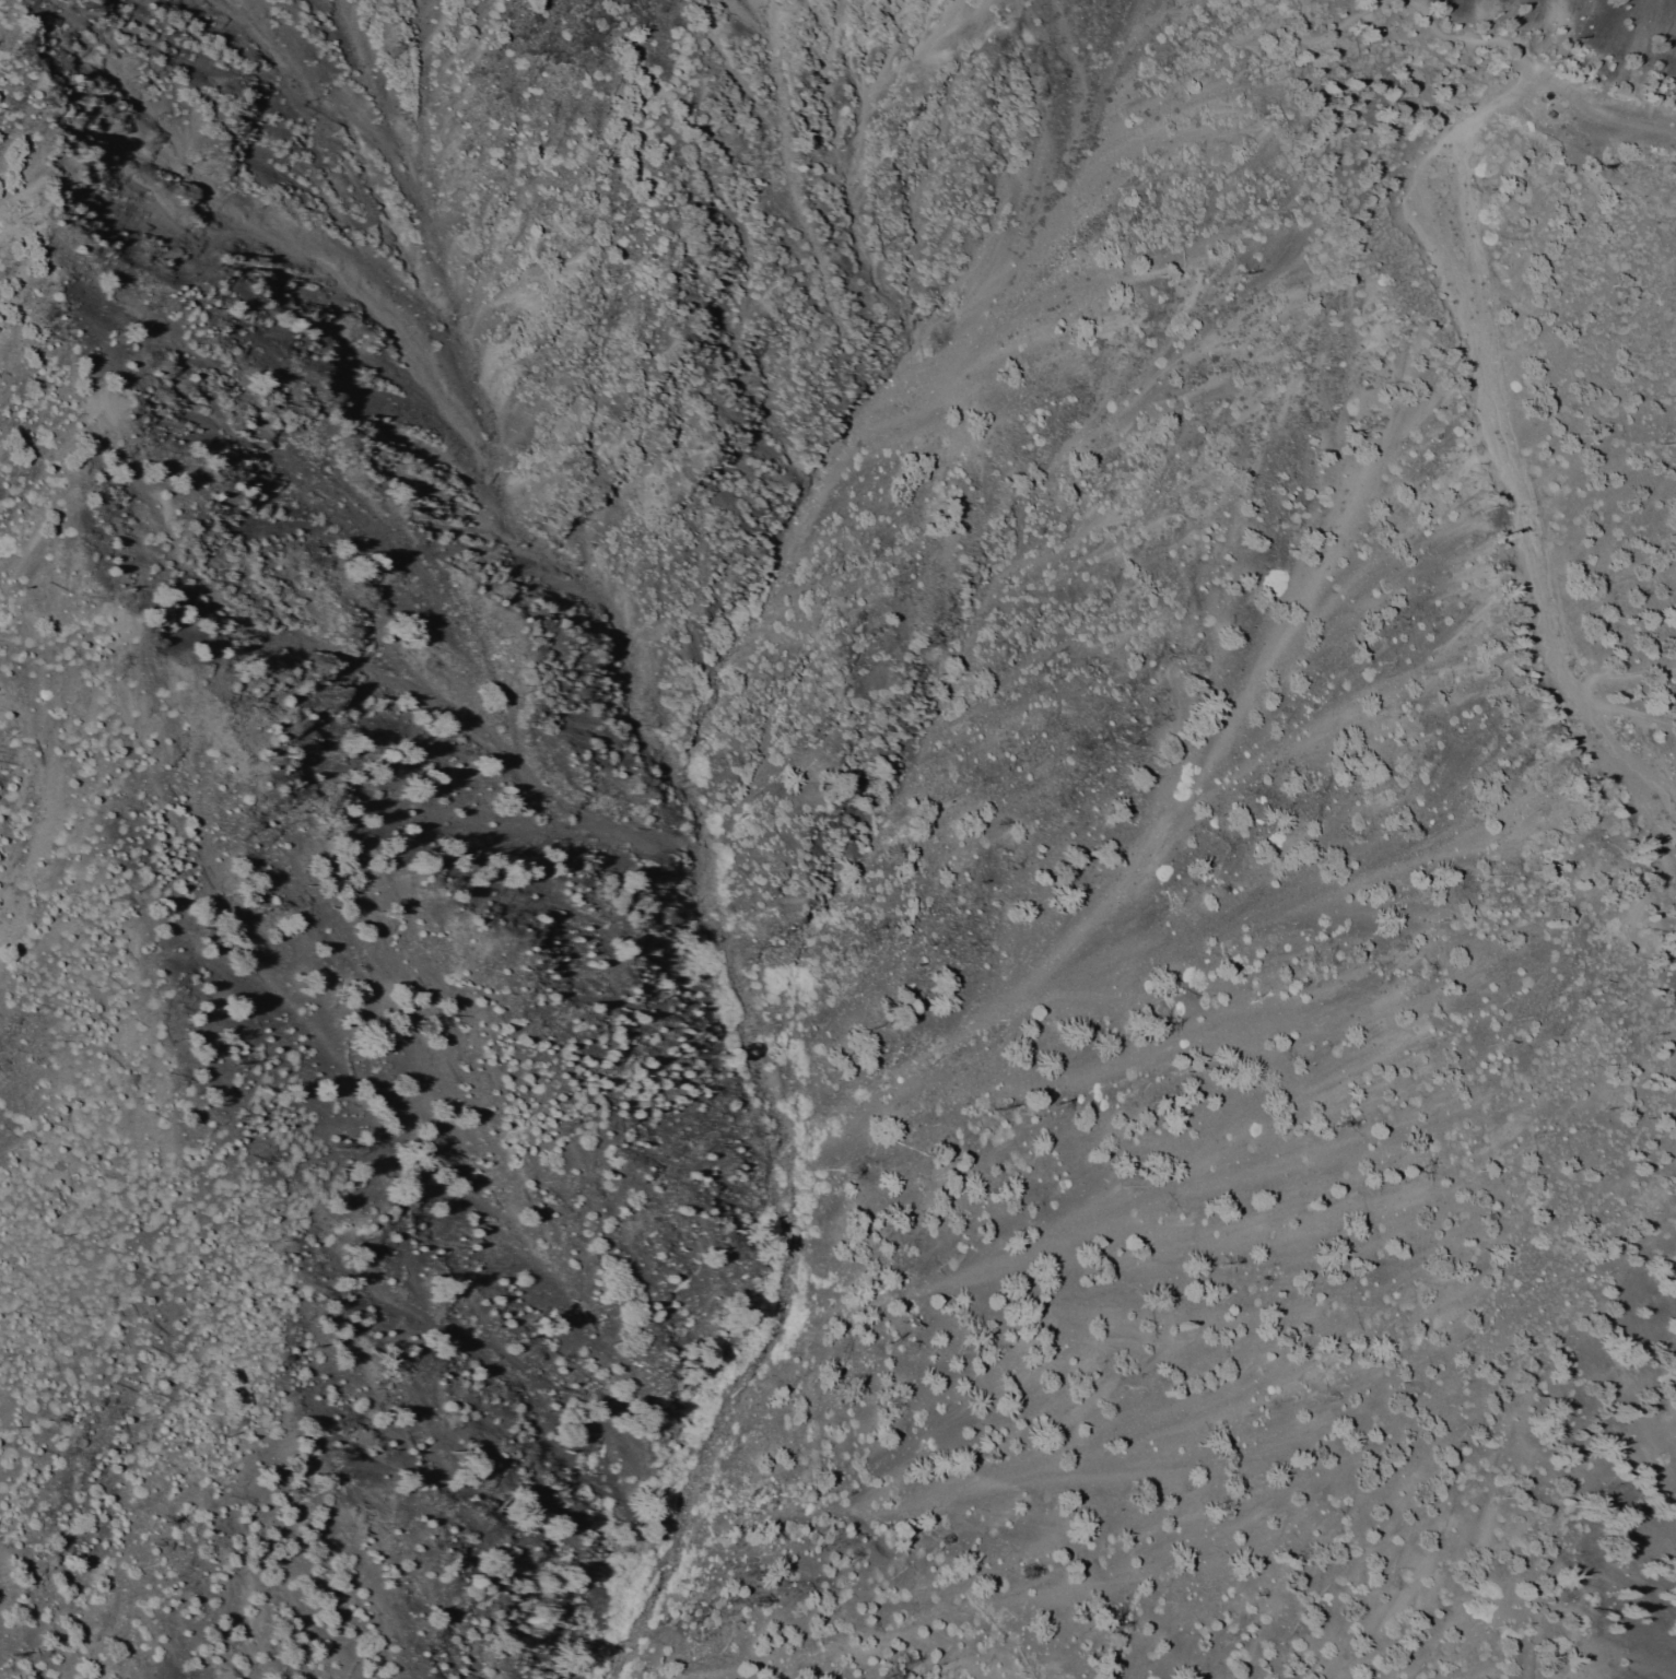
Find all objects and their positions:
road: (1402, 3)
road: (1328, 36)
road: (1485, 39)
road: (1610, 115)
aerialway pylon: (1609, 169)
road: (1615, 179)
ski resort: (1548, 439)
road: (1584, 695)

